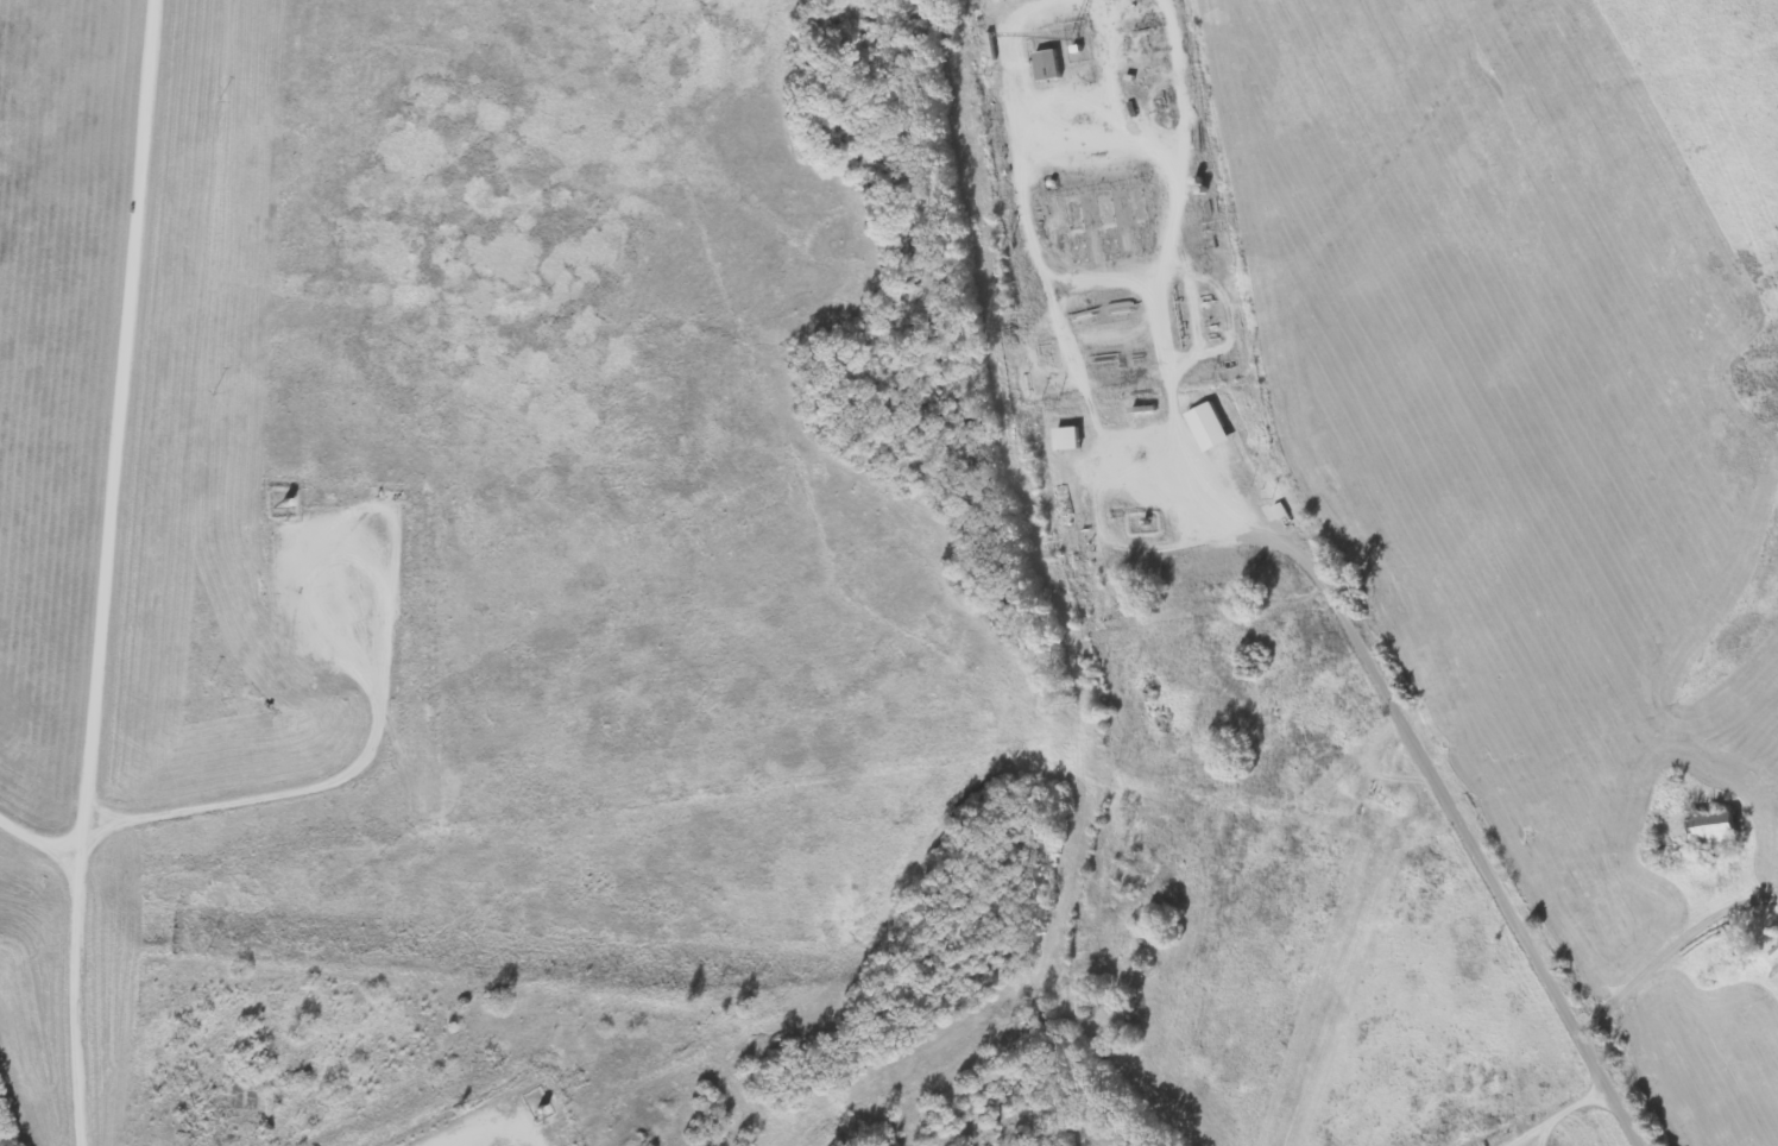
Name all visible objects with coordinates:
building: (1048, 64)
building: (1209, 427)
building: (1067, 439)
road: (105, 572)
road: (1645, 579)
building: (1714, 832)
road: (1589, 1066)

